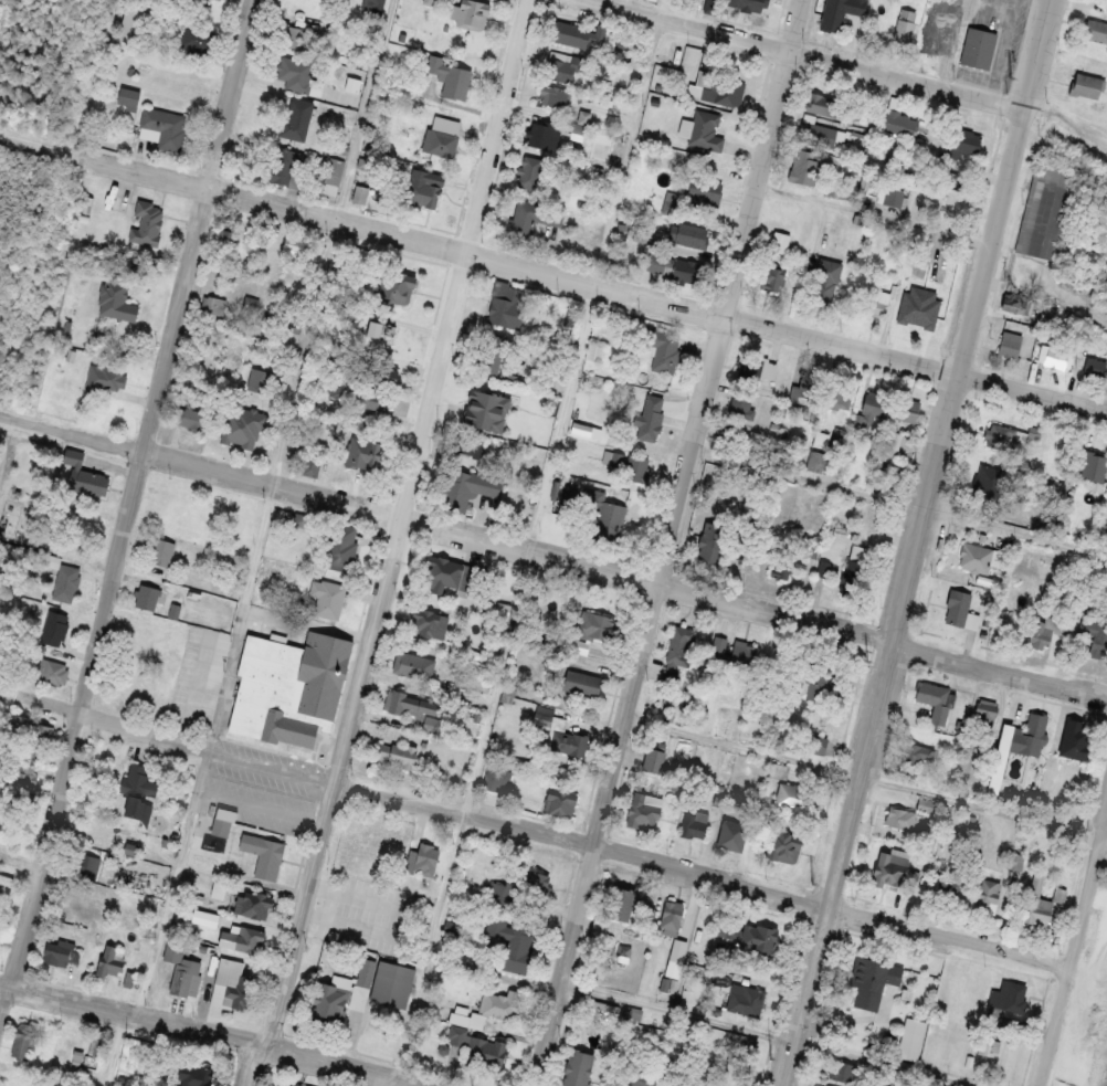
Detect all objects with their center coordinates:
building: (750, 3)
building: (375, 6)
building: (714, 6)
road: (997, 8)
building: (471, 12)
building: (840, 12)
building: (963, 13)
building: (333, 20)
building: (138, 23)
building: (905, 25)
building: (1096, 29)
building: (588, 34)
building: (942, 35)
building: (308, 36)
building: (196, 38)
building: (668, 46)
parking lot: (1009, 46)
building: (980, 49)
road: (1006, 52)
road: (808, 53)
power tower: (1019, 60)
building: (562, 65)
building: (296, 73)
road: (97, 76)
building: (450, 77)
building: (1089, 85)
building: (724, 88)
building: (552, 95)
building: (127, 97)
building: (826, 105)
building: (863, 113)
building: (898, 116)
building: (296, 118)
building: (580, 124)
building: (164, 127)
building: (706, 131)
building: (545, 134)
building: (819, 135)
building: (841, 138)
building: (440, 141)
building: (968, 141)
road: (39, 143)
building: (288, 167)
building: (806, 168)
road: (143, 171)
building: (528, 171)
building: (333, 176)
building: (868, 179)
building: (953, 179)
building: (704, 190)
building: (360, 193)
building: (421, 193)
building: (893, 198)
building: (1047, 209)
road: (877, 214)
building: (534, 215)
building: (146, 223)
building: (641, 234)
building: (690, 234)
building: (270, 239)
building: (222, 243)
building: (781, 243)
building: (293, 244)
power tower: (972, 247)
building: (685, 268)
building: (776, 277)
building: (827, 280)
building: (914, 283)
building: (388, 288)
road: (657, 297)
building: (116, 299)
building: (215, 305)
building: (505, 305)
building: (874, 305)
building: (921, 315)
building: (1012, 342)
building: (665, 350)
building: (594, 351)
building: (494, 354)
building: (1057, 357)
building: (1096, 365)
building: (760, 372)
building: (103, 378)
building: (365, 378)
building: (261, 380)
building: (811, 381)
building: (842, 392)
building: (478, 401)
building: (876, 403)
building: (745, 404)
building: (906, 409)
building: (190, 419)
building: (645, 419)
building: (244, 431)
building: (734, 435)
building: (1010, 436)
building: (821, 439)
building: (892, 443)
building: (467, 444)
building: (362, 454)
building: (307, 463)
power tower: (917, 463)
building: (1093, 465)
building: (635, 467)
building: (83, 475)
building: (466, 488)
building: (989, 496)
road: (900, 502)
road: (133, 507)
building: (843, 509)
building: (209, 513)
building: (605, 516)
building: (242, 518)
building: (298, 519)
road: (533, 537)
road: (671, 542)
road: (921, 542)
building: (711, 544)
road: (396, 545)
road: (260, 547)
building: (339, 547)
building: (161, 552)
road: (553, 553)
building: (974, 557)
building: (998, 558)
building: (793, 563)
building: (823, 568)
building: (441, 571)
building: (853, 579)
building: (65, 582)
building: (326, 595)
building: (146, 597)
building: (958, 609)
building: (971, 621)
building: (428, 622)
building: (591, 626)
building: (53, 628)
building: (137, 629)
building: (1046, 629)
building: (1094, 630)
building: (679, 643)
building: (742, 655)
building: (138, 661)
power tower: (868, 661)
building: (413, 665)
building: (46, 672)
building: (580, 683)
building: (821, 683)
building: (286, 688)
building: (126, 689)
building: (934, 702)
building: (404, 703)
building: (987, 711)
building: (1029, 734)
building: (35, 738)
building: (565, 738)
building: (1072, 739)
building: (814, 744)
building: (396, 757)
building: (915, 757)
building: (651, 760)
road: (867, 779)
building: (19, 781)
building: (138, 781)
building: (493, 783)
building: (792, 797)
building: (557, 802)
building: (925, 804)
building: (137, 809)
building: (641, 810)
building: (899, 819)
building: (222, 822)
building: (693, 824)
road: (546, 832)
building: (729, 835)
building: (782, 845)
building: (263, 854)
building: (424, 858)
building: (409, 861)
building: (1014, 861)
building: (91, 866)
building: (885, 869)
building: (6, 879)
power tower: (814, 882)
building: (515, 889)
building: (987, 894)
building: (1061, 894)
building: (1036, 899)
building: (256, 904)
building: (619, 904)
building: (354, 908)
building: (673, 915)
building: (755, 936)
building: (246, 938)
building: (515, 949)
building: (681, 952)
building: (61, 953)
building: (108, 960)
road: (1075, 960)
building: (181, 970)
building: (365, 972)
building: (874, 979)
building: (340, 980)
building: (389, 984)
building: (234, 990)
building: (745, 998)
building: (1009, 998)
building: (328, 1003)
building: (498, 1004)
building: (630, 1013)
road: (221, 1035)
road: (772, 1035)
building: (22, 1040)
building: (95, 1043)
building: (720, 1046)
building: (990, 1046)
building: (484, 1053)
power tower: (770, 1057)
building: (735, 1066)
building: (574, 1069)
building: (843, 1072)
building: (193, 1075)
road: (380, 1077)
building: (636, 1077)
building: (286, 1084)
building: (668, 1084)
building: (708, 1084)
building: (829, 1085)

